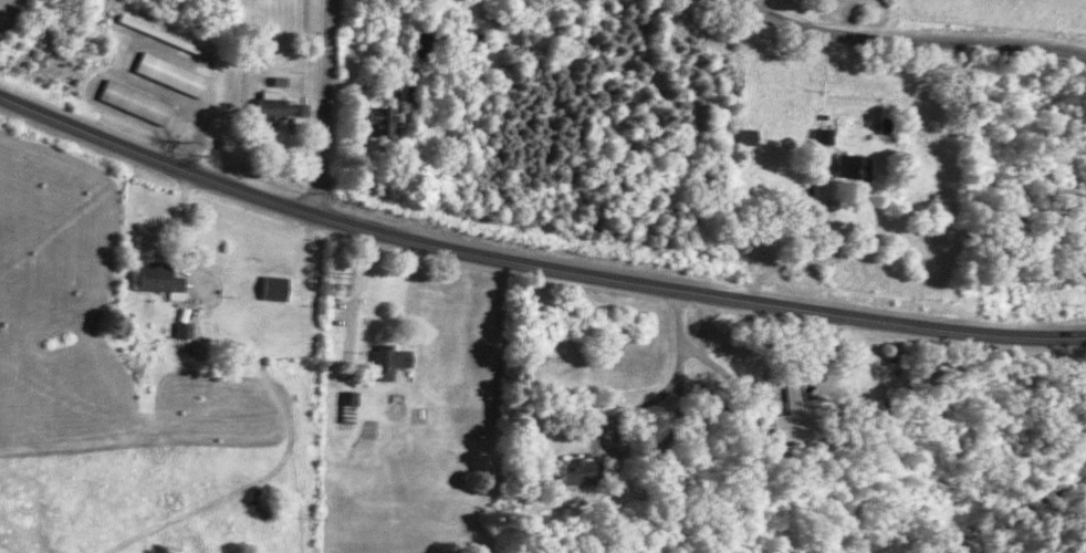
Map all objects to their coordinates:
road: (901, 38)
building: (188, 43)
building: (177, 73)
building: (411, 92)
building: (140, 102)
building: (284, 107)
road: (321, 107)
building: (387, 119)
building: (832, 135)
building: (755, 136)
building: (862, 166)
road: (808, 241)
road: (184, 243)
road: (532, 264)
building: (164, 279)
building: (279, 288)
road: (359, 300)
building: (188, 330)
building: (390, 359)
building: (355, 406)
building: (796, 416)
building: (586, 470)

